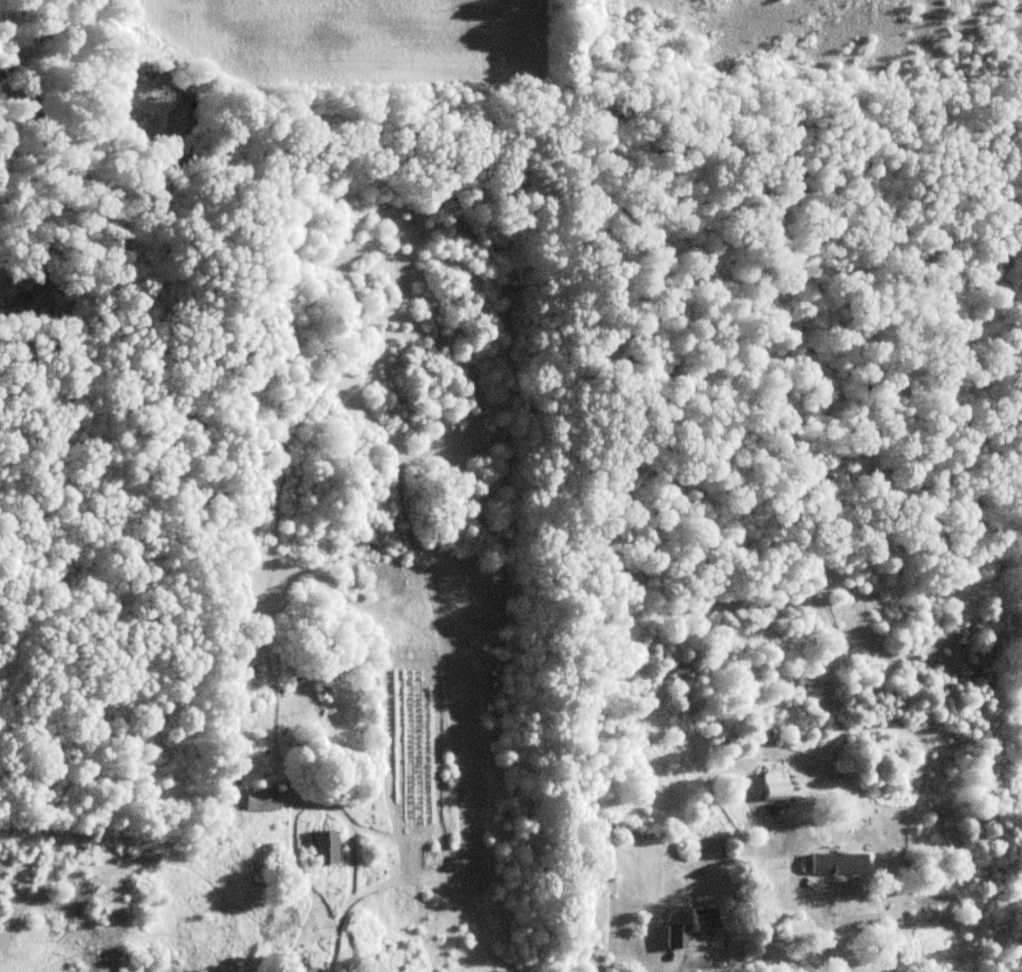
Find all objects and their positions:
building: (772, 786)
building: (258, 800)
building: (322, 848)
building: (836, 864)
building: (701, 921)
road: (821, 932)
building: (675, 938)
building: (283, 964)

